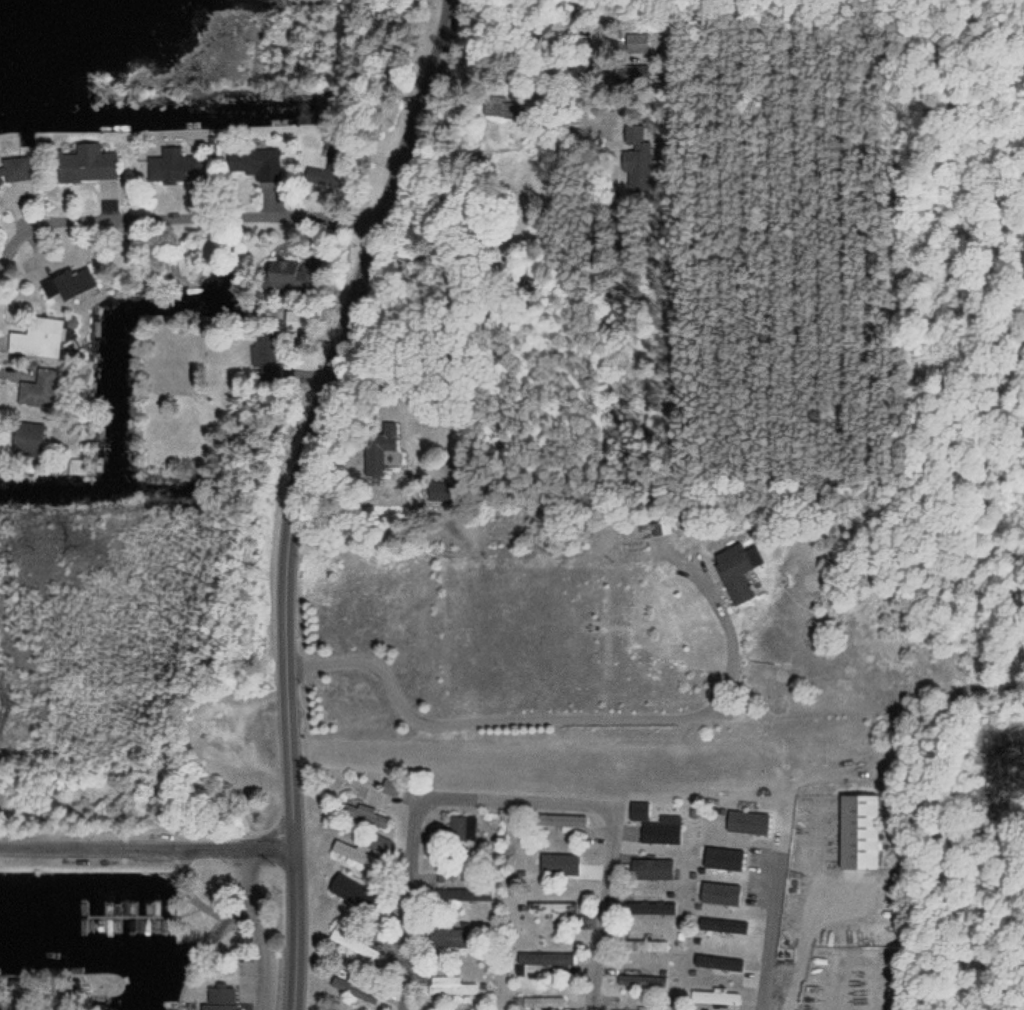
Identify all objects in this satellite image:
building: (641, 47)
building: (643, 154)
building: (254, 161)
building: (87, 164)
building: (174, 166)
building: (15, 169)
building: (320, 176)
road: (176, 219)
building: (290, 276)
building: (73, 282)
building: (39, 338)
building: (270, 355)
building: (39, 390)
building: (28, 439)
building: (379, 449)
building: (82, 467)
building: (441, 491)
road: (297, 494)
building: (733, 576)
road: (571, 719)
building: (207, 730)
building: (368, 816)
building: (563, 822)
building: (463, 829)
building: (859, 832)
building: (659, 833)
road: (147, 848)
building: (365, 849)
road: (431, 858)
building: (559, 860)
building: (652, 870)
road: (609, 877)
building: (465, 894)
building: (386, 908)
building: (650, 908)
building: (553, 909)
road: (225, 929)
road: (771, 934)
building: (450, 938)
building: (358, 941)
building: (645, 946)
building: (548, 959)
building: (642, 981)
building: (452, 986)
building: (356, 987)
building: (714, 998)
building: (219, 999)
building: (541, 1002)

